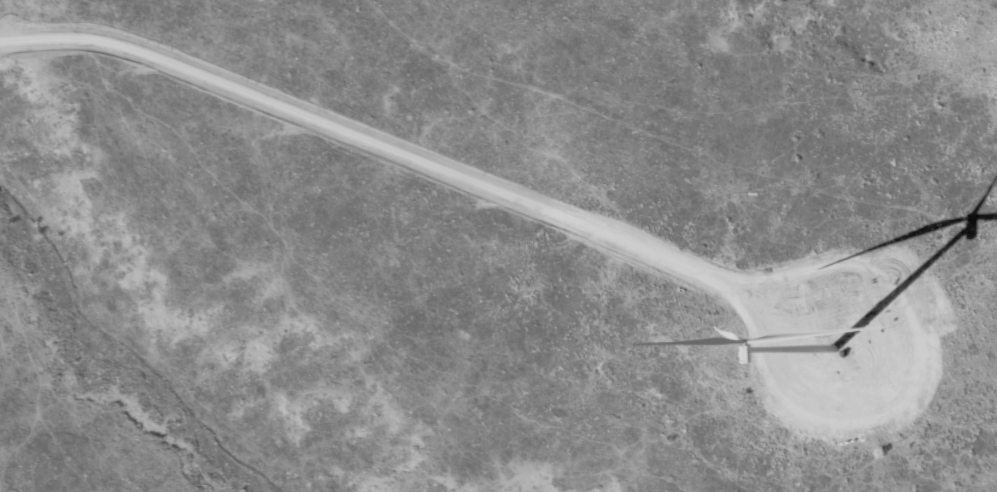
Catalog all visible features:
wind turbine: (837, 348)

